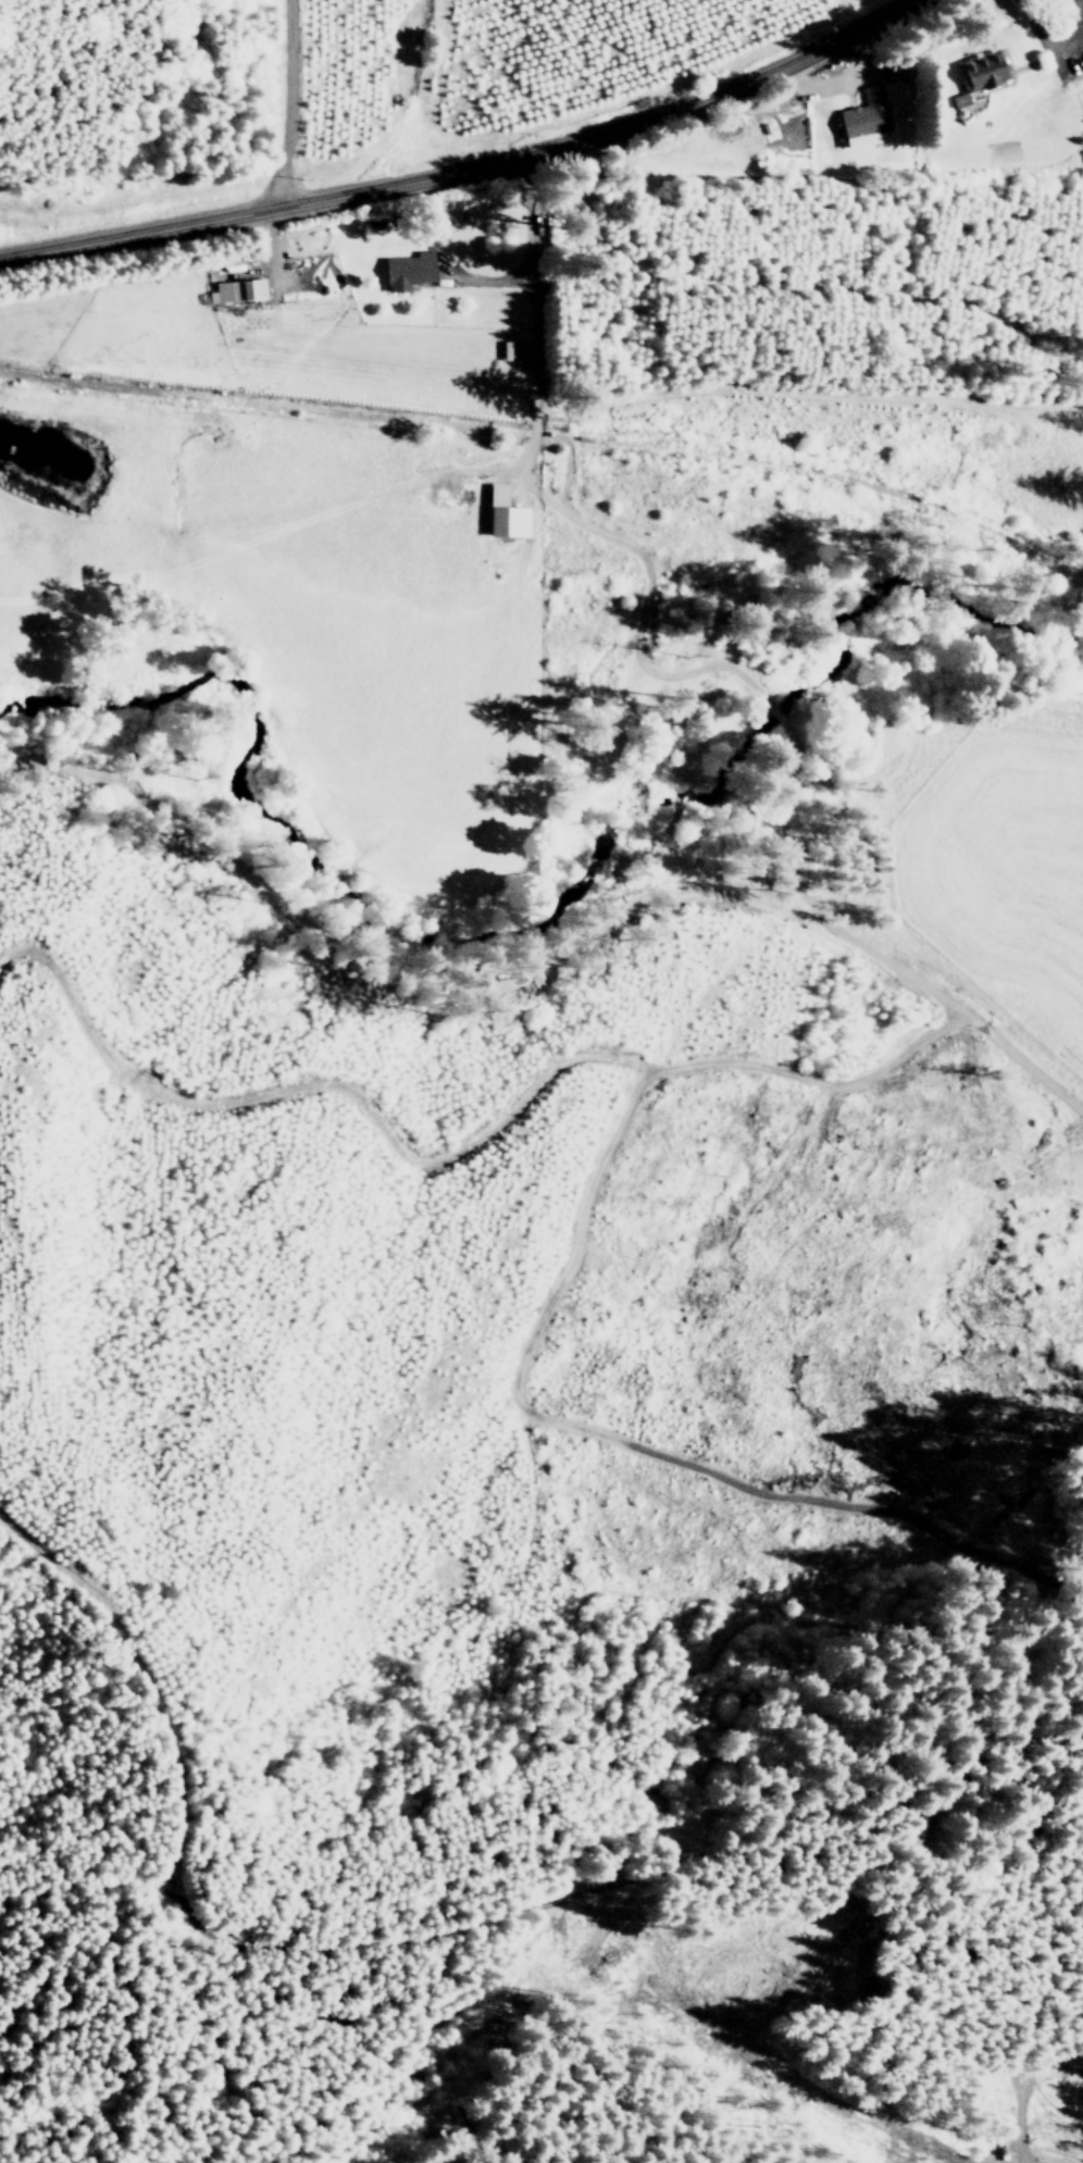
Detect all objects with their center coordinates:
building: (978, 75)
crop: (681, 85)
road: (288, 103)
building: (866, 117)
road: (466, 167)
building: (408, 270)
building: (234, 290)
railway: (552, 437)
building: (506, 514)

